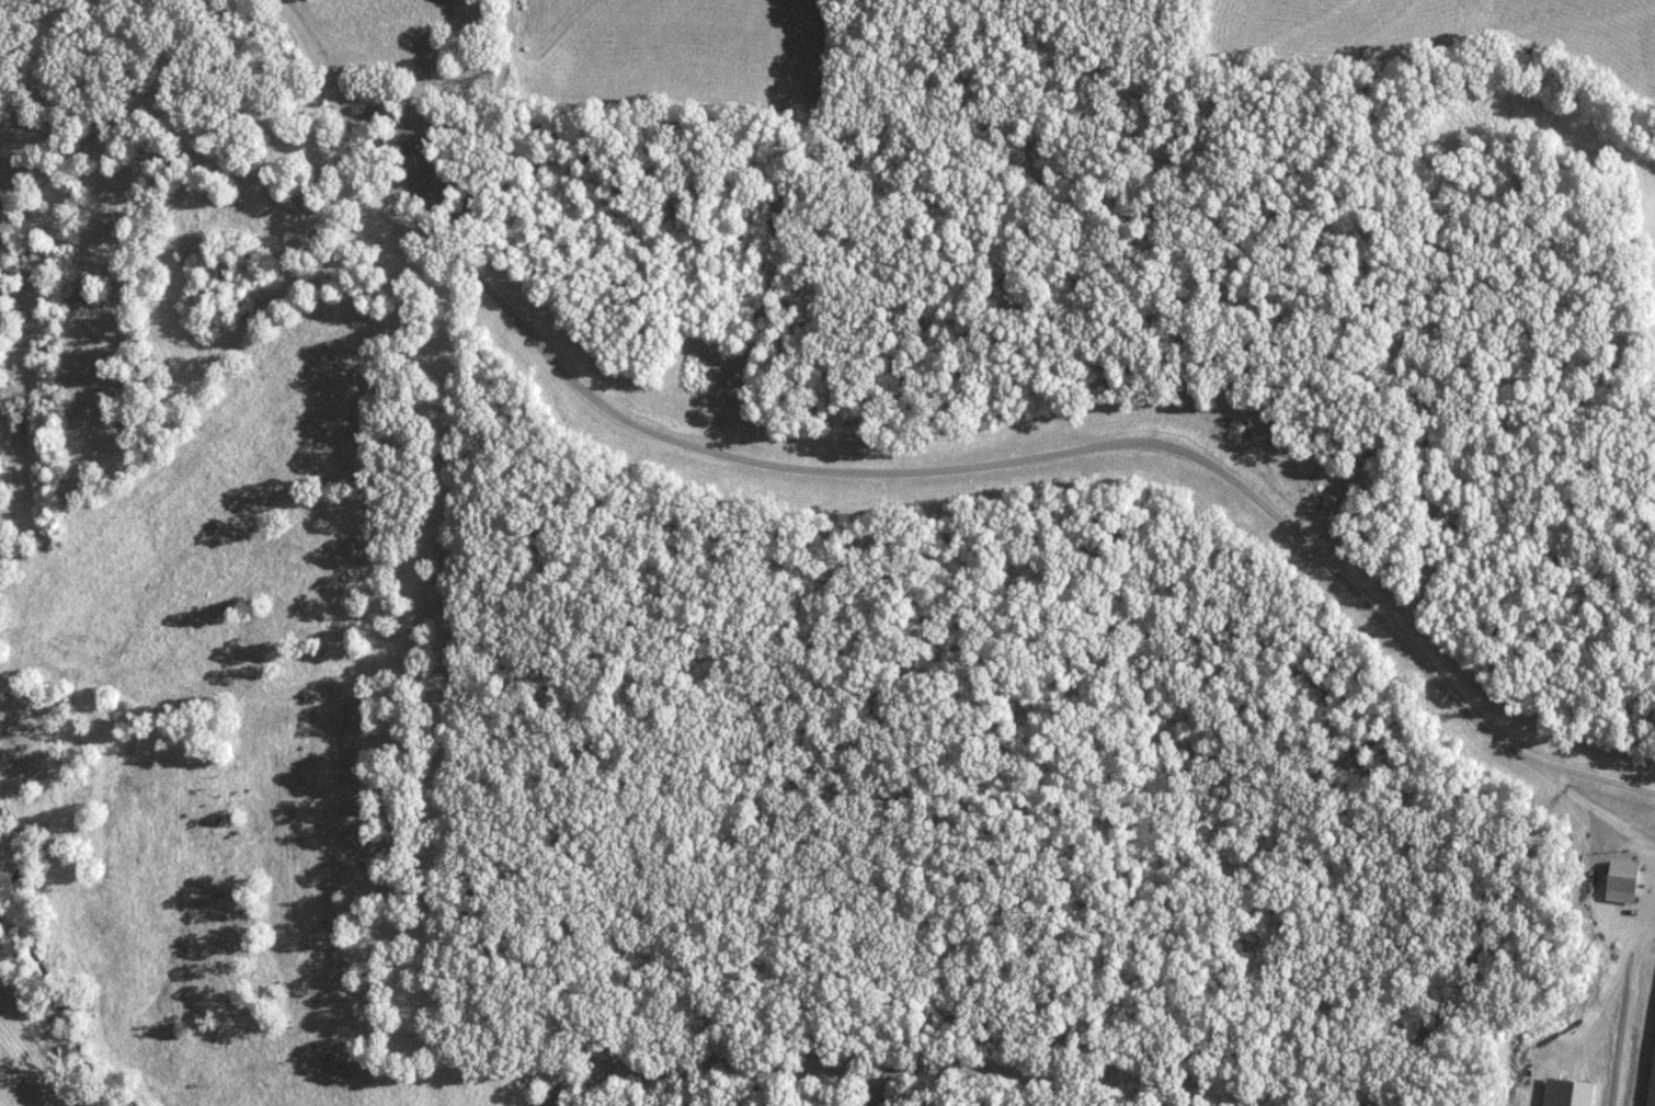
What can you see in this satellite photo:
road: (932, 483)
building: (1621, 877)

